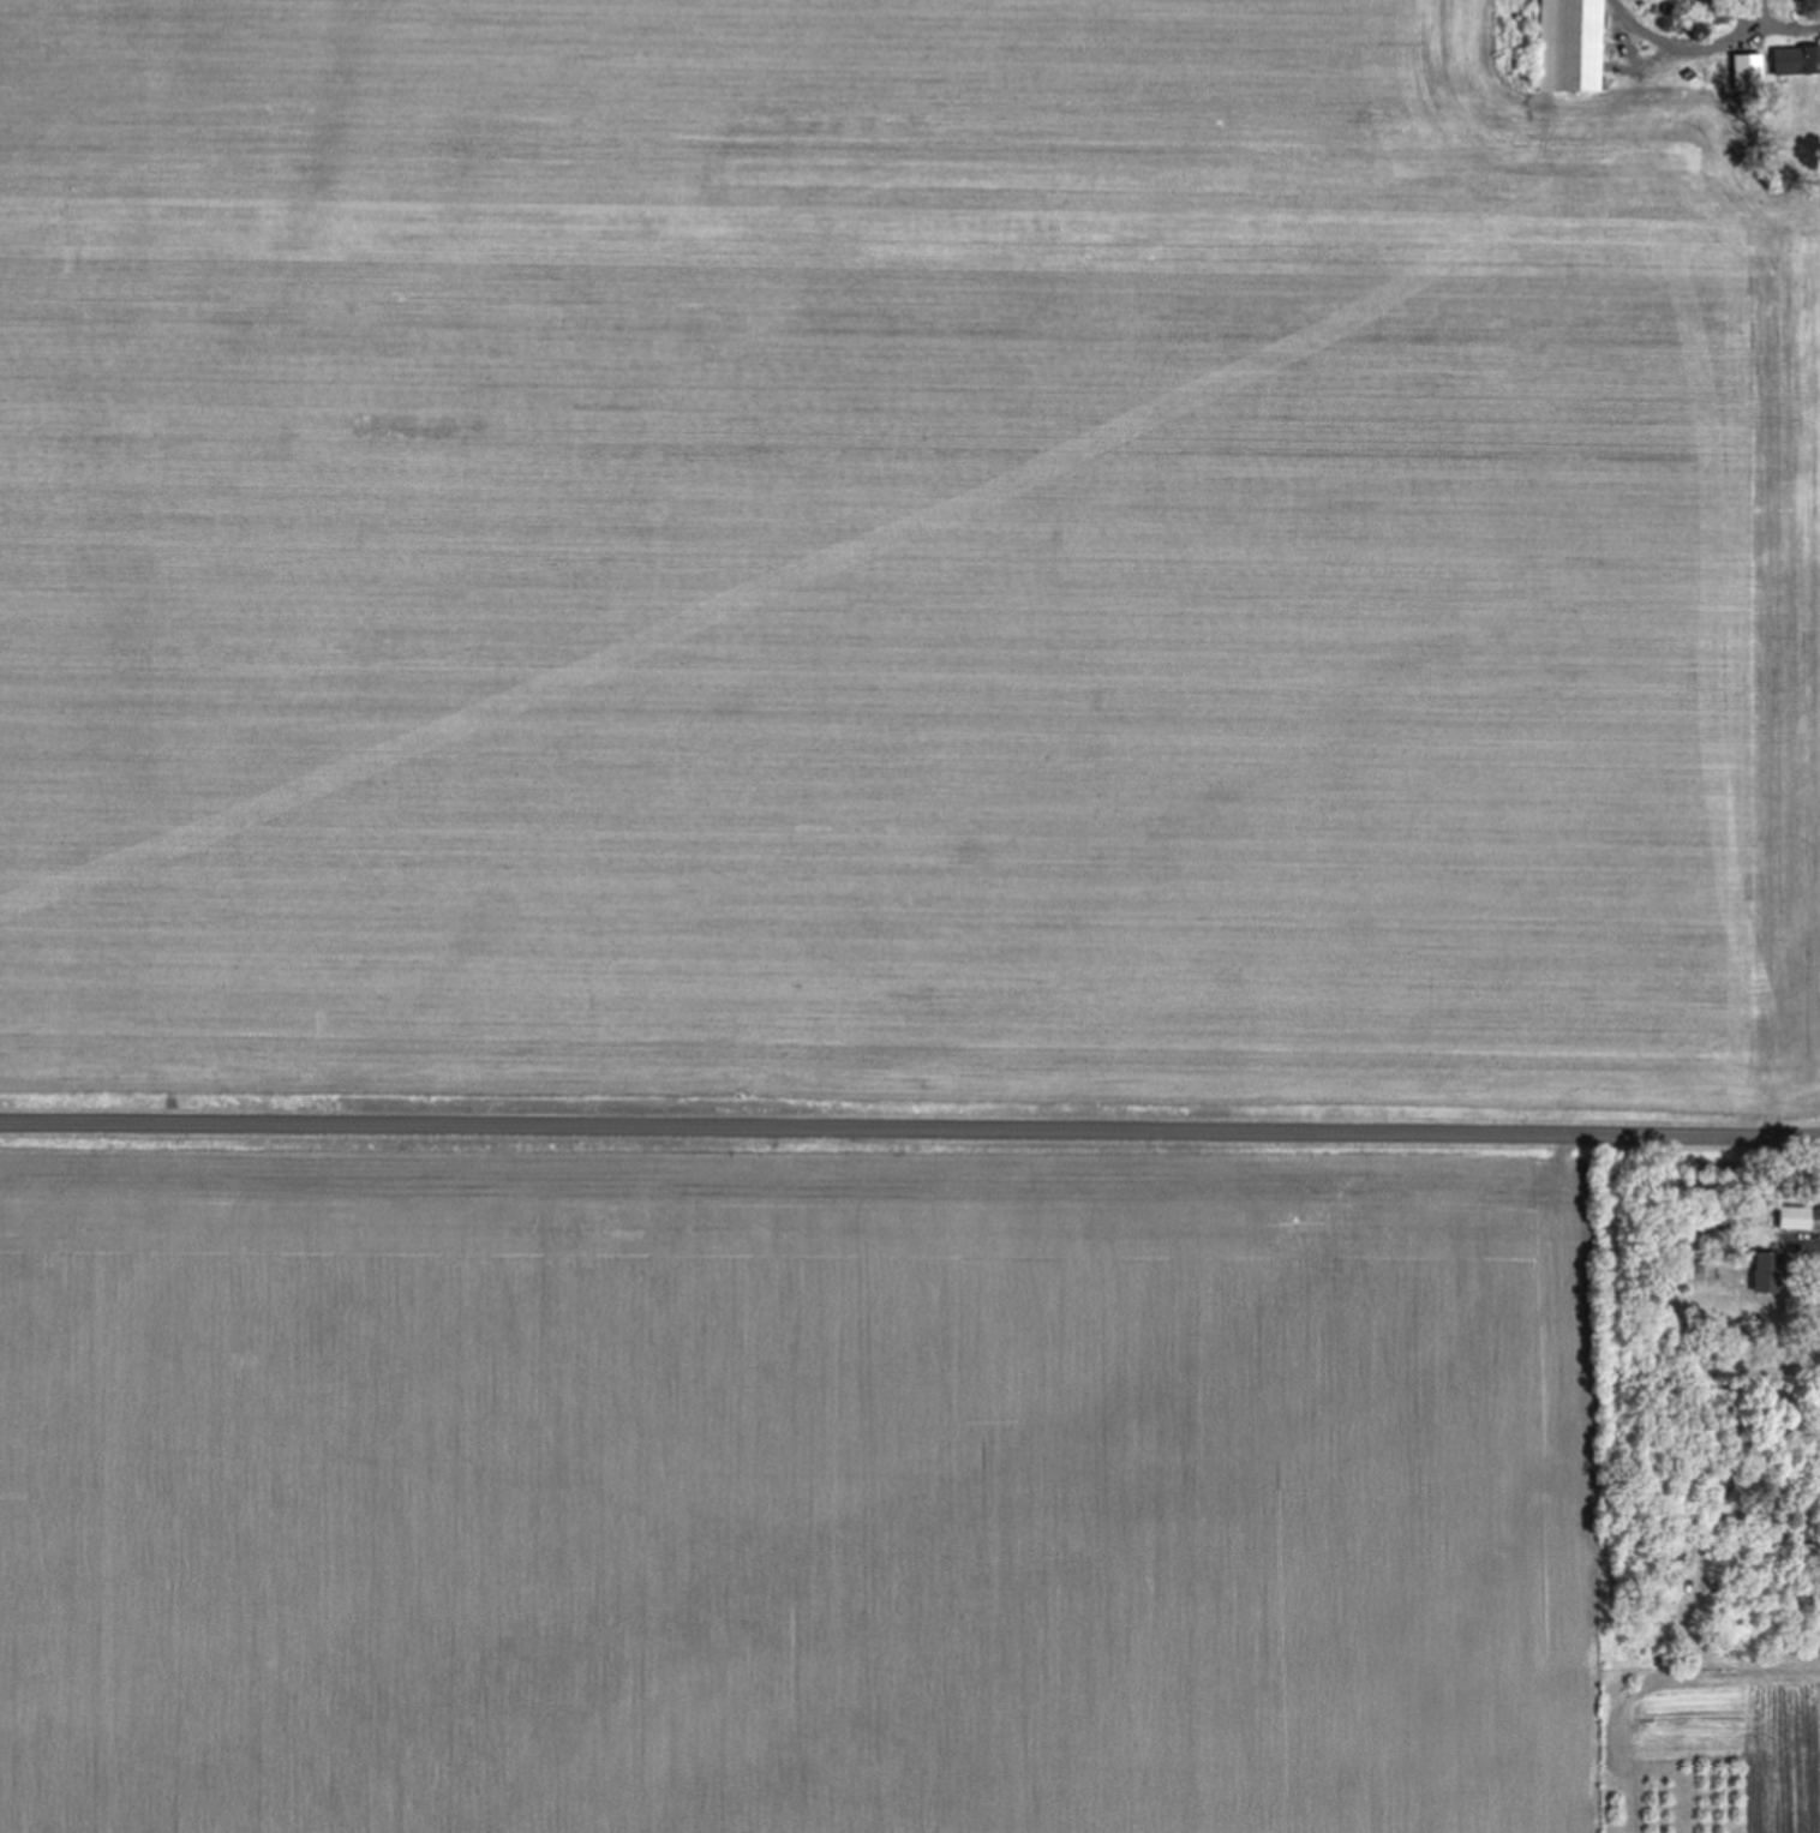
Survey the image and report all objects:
building: (1712, 11)
building: (1568, 44)
building: (1795, 58)
building: (1746, 68)
crop: (891, 567)
road: (909, 1122)
building: (1794, 1216)
building: (1765, 1271)
crop: (795, 1482)

